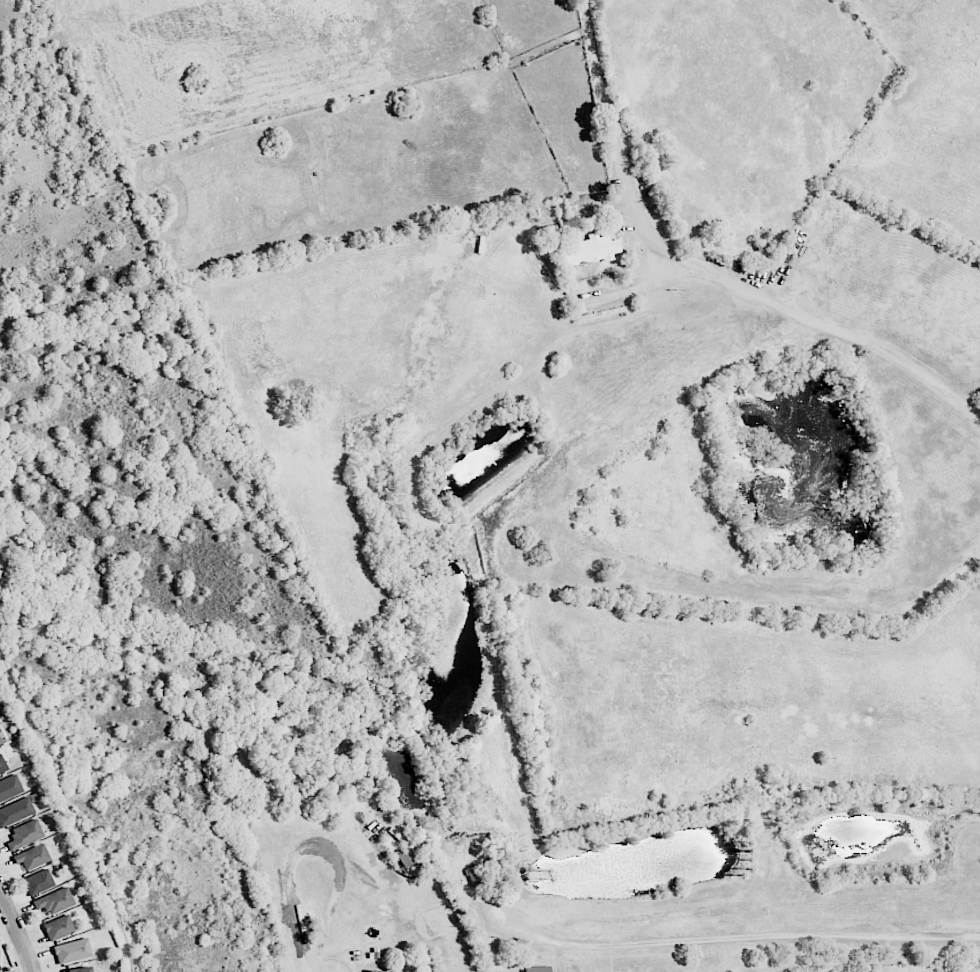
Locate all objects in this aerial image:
road: (601, 73)
building: (590, 251)
road: (773, 303)
building: (0, 742)
building: (2, 766)
building: (9, 787)
building: (15, 811)
road: (68, 814)
building: (24, 835)
road: (315, 846)
building: (31, 857)
building: (405, 858)
building: (475, 875)
building: (38, 882)
building: (54, 901)
building: (58, 928)
road: (18, 931)
road: (752, 937)
building: (71, 951)
building: (537, 969)
building: (77, 970)
building: (378, 971)

